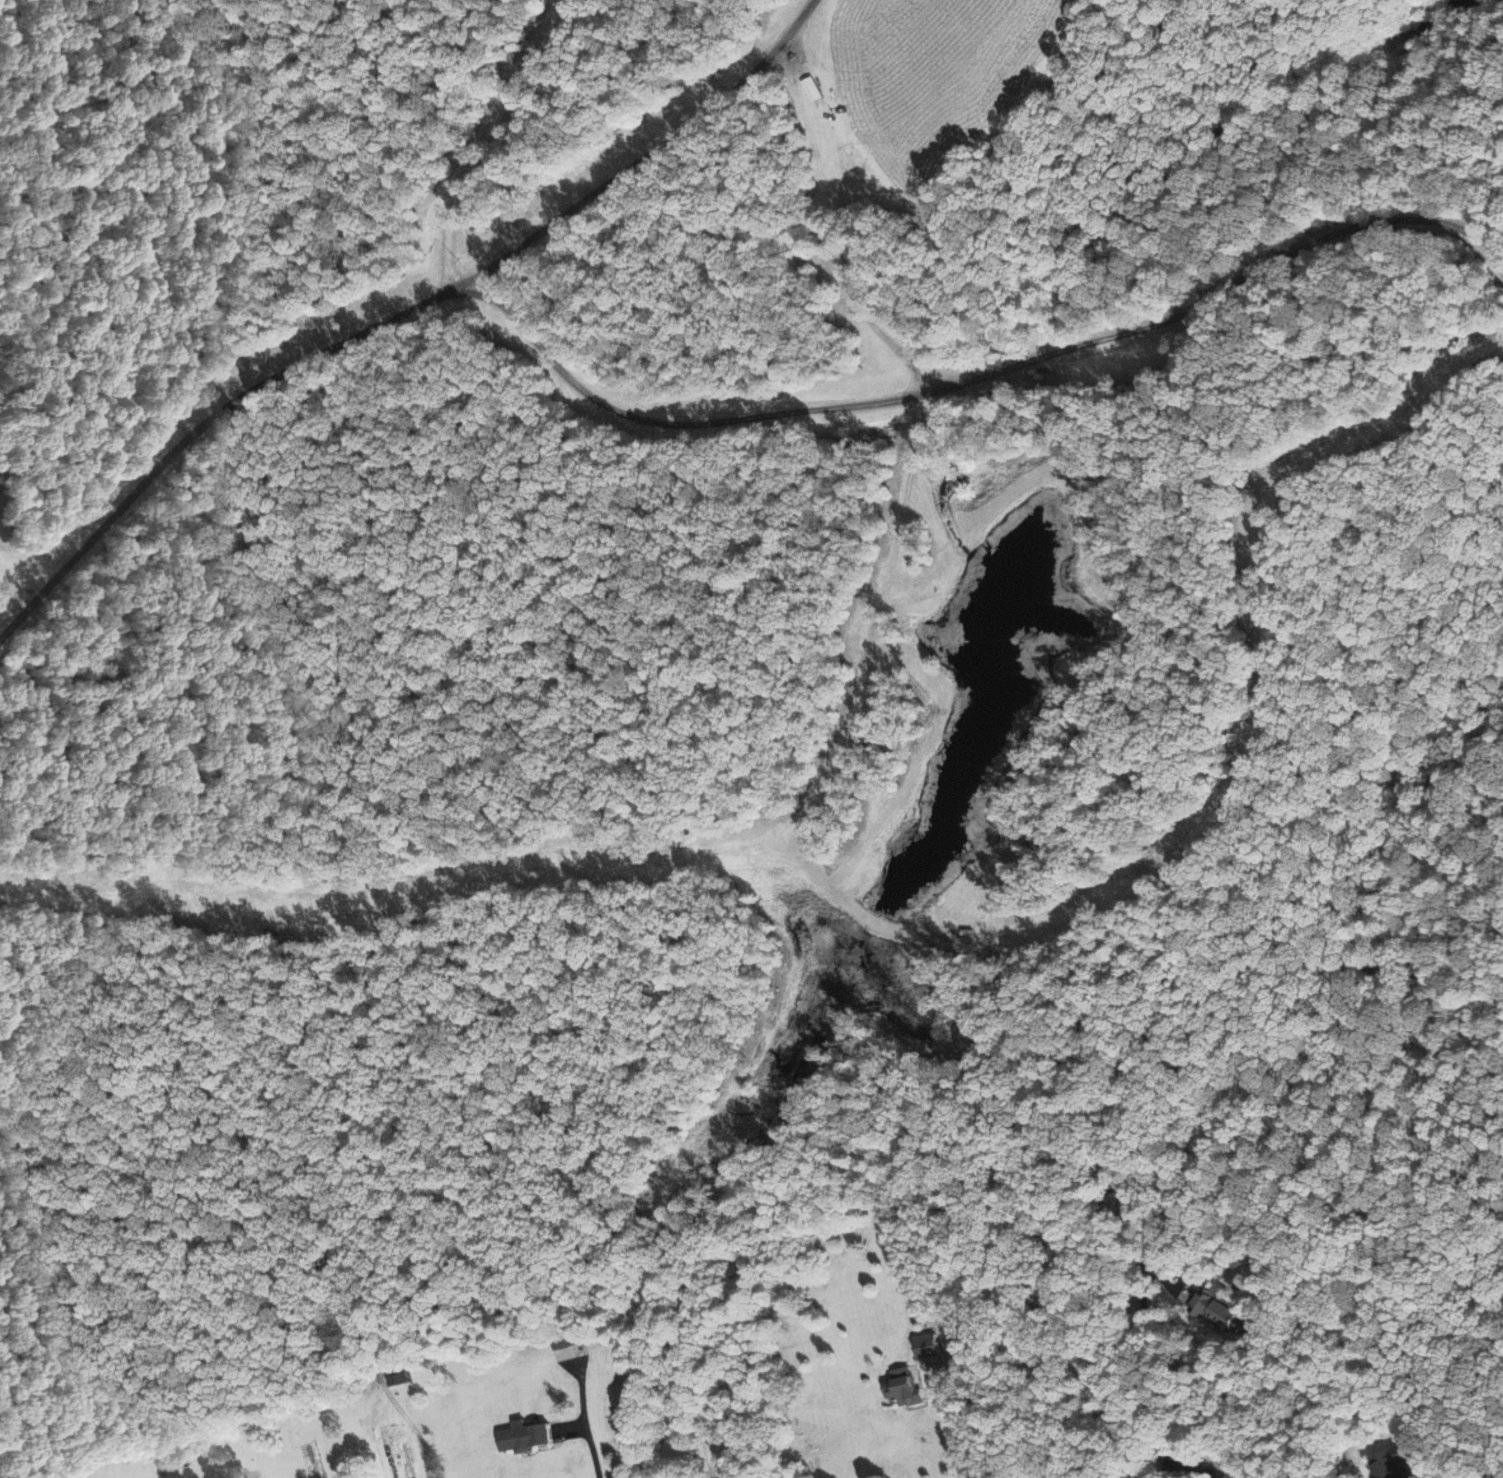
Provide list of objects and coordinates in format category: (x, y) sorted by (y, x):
building: (813, 88)
road: (483, 137)
road: (398, 312)
road: (971, 374)
building: (1218, 1308)
building: (578, 1343)
building: (396, 1377)
building: (904, 1390)
road: (959, 1433)
building: (526, 1437)
building: (1394, 1464)
road: (1203, 1477)

